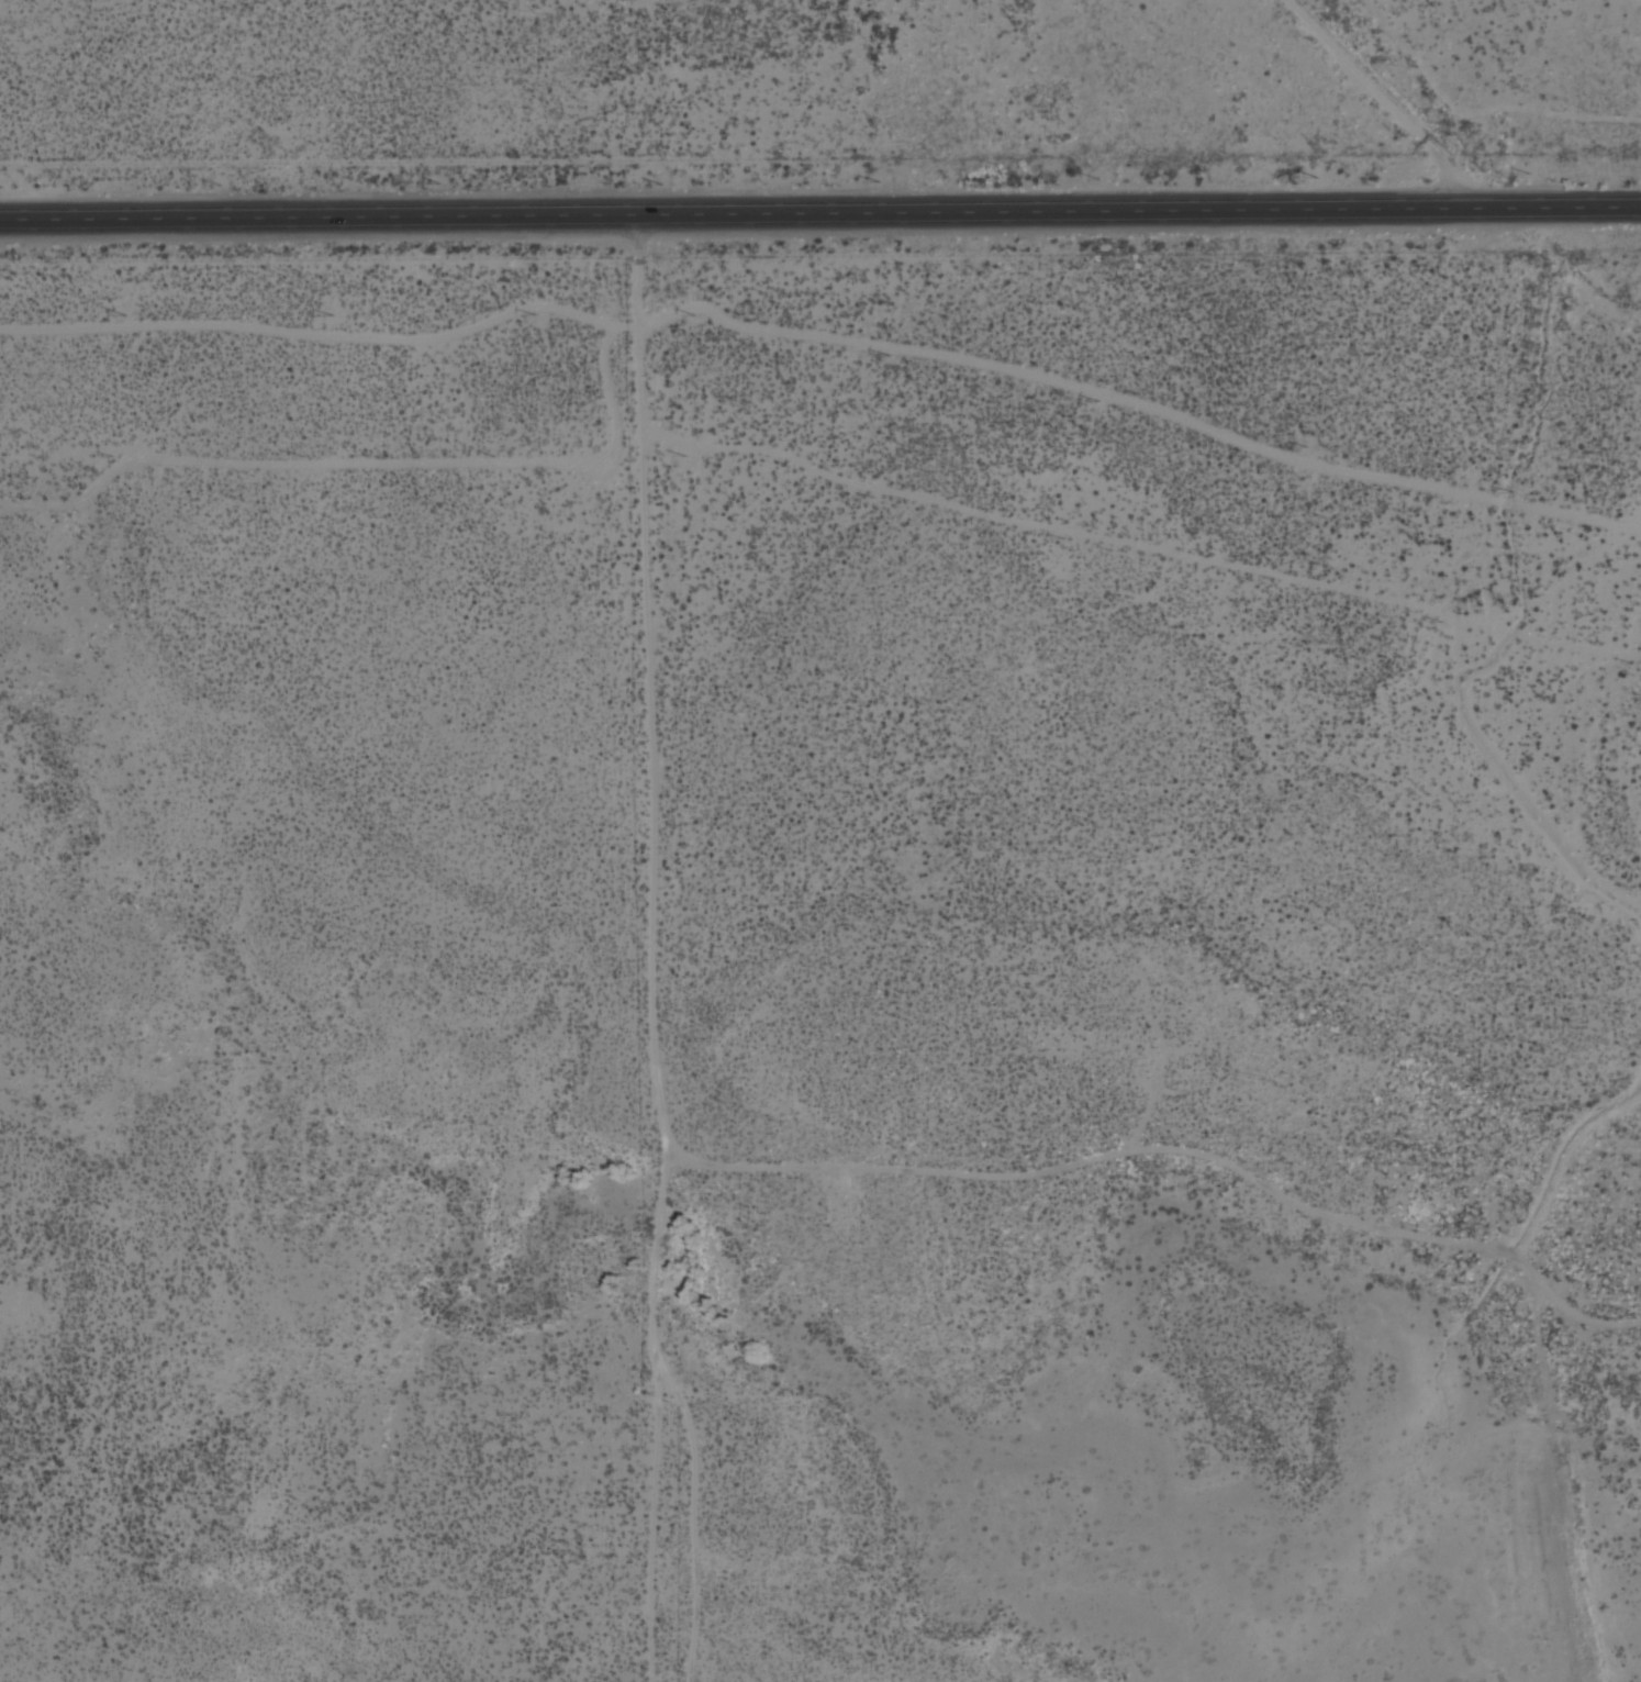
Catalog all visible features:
road: (1377, 105)
road: (819, 213)
road: (825, 333)
road: (362, 470)
road: (1145, 559)
road: (661, 954)
road: (1181, 1148)
road: (1570, 1484)
road: (661, 1512)

